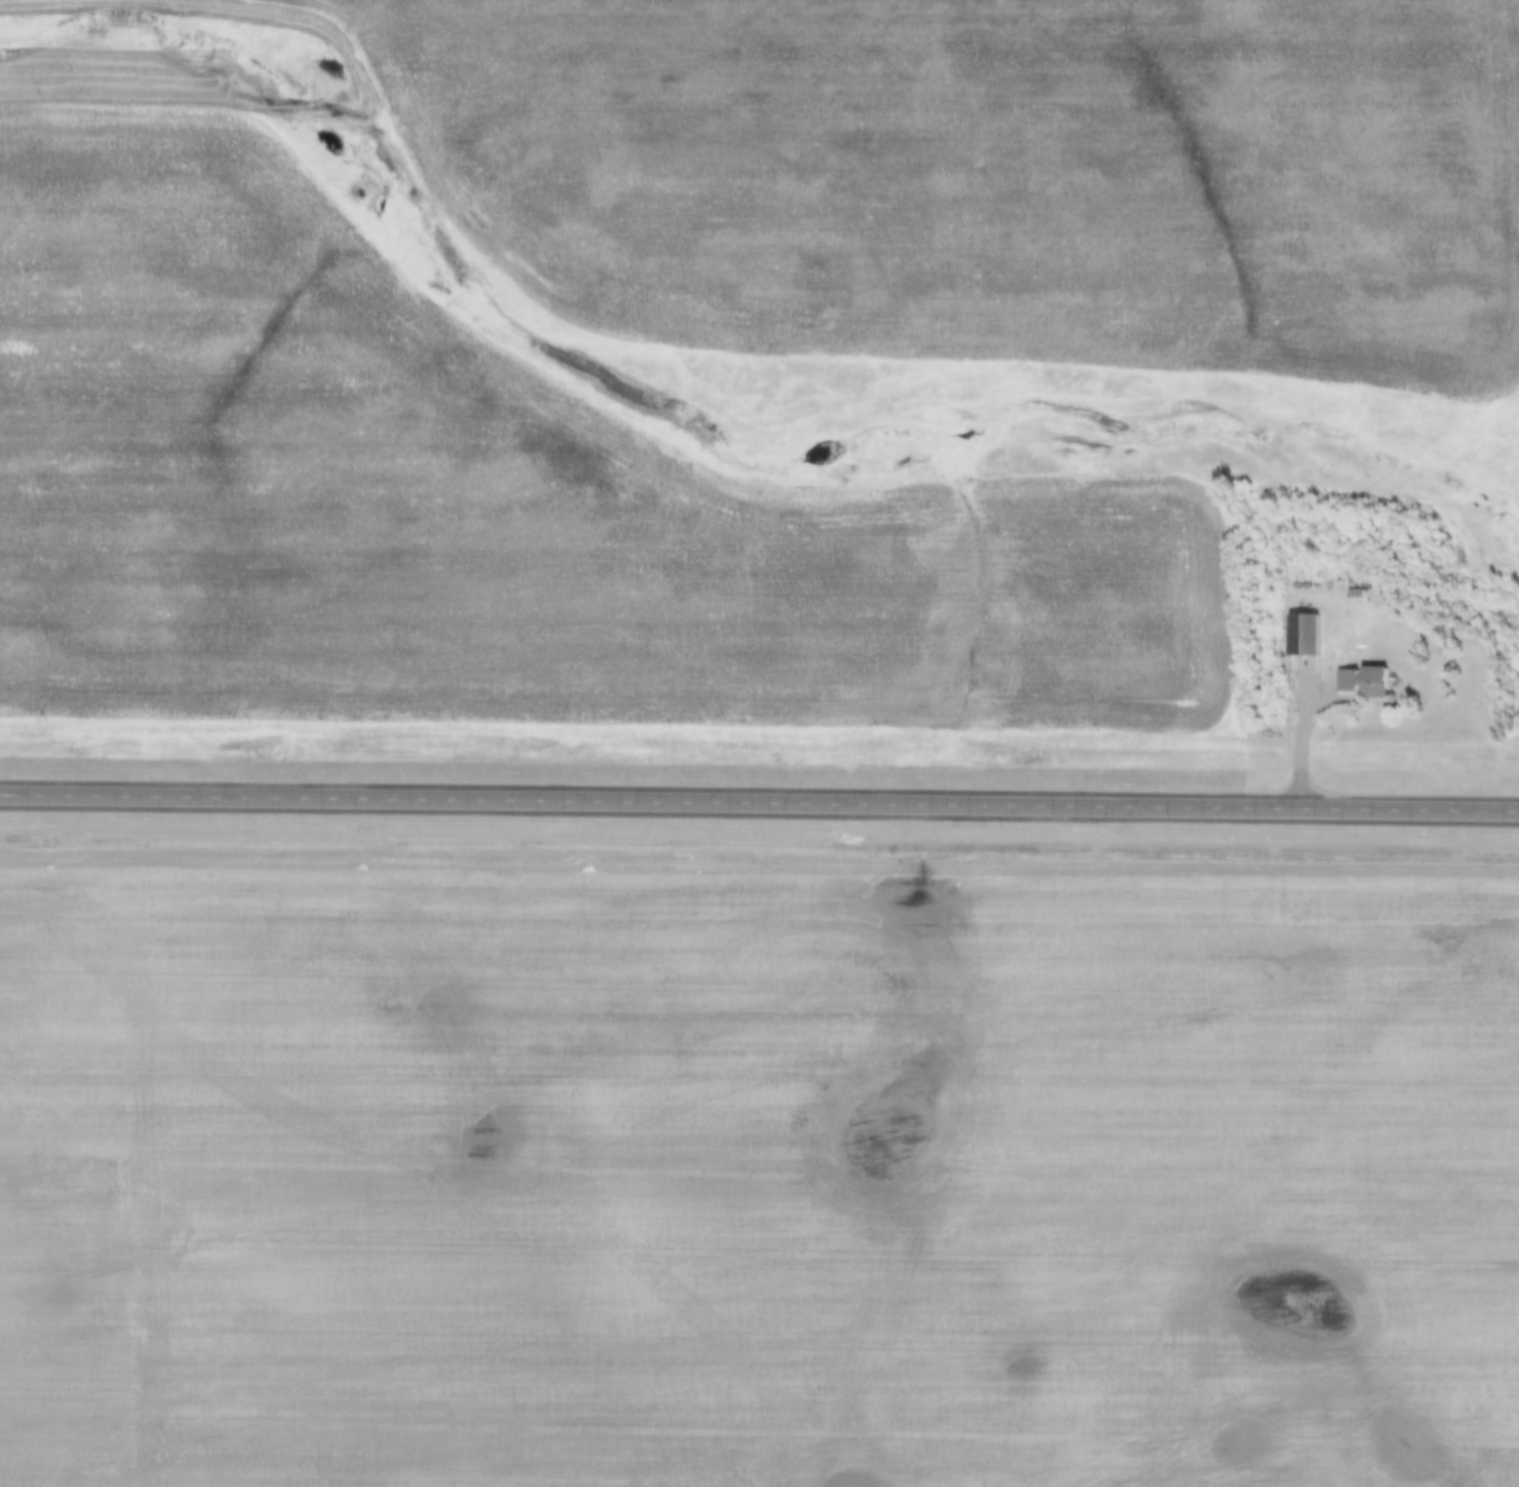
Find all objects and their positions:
building: (1300, 635)
building: (1360, 681)
road: (1307, 732)
road: (759, 801)

